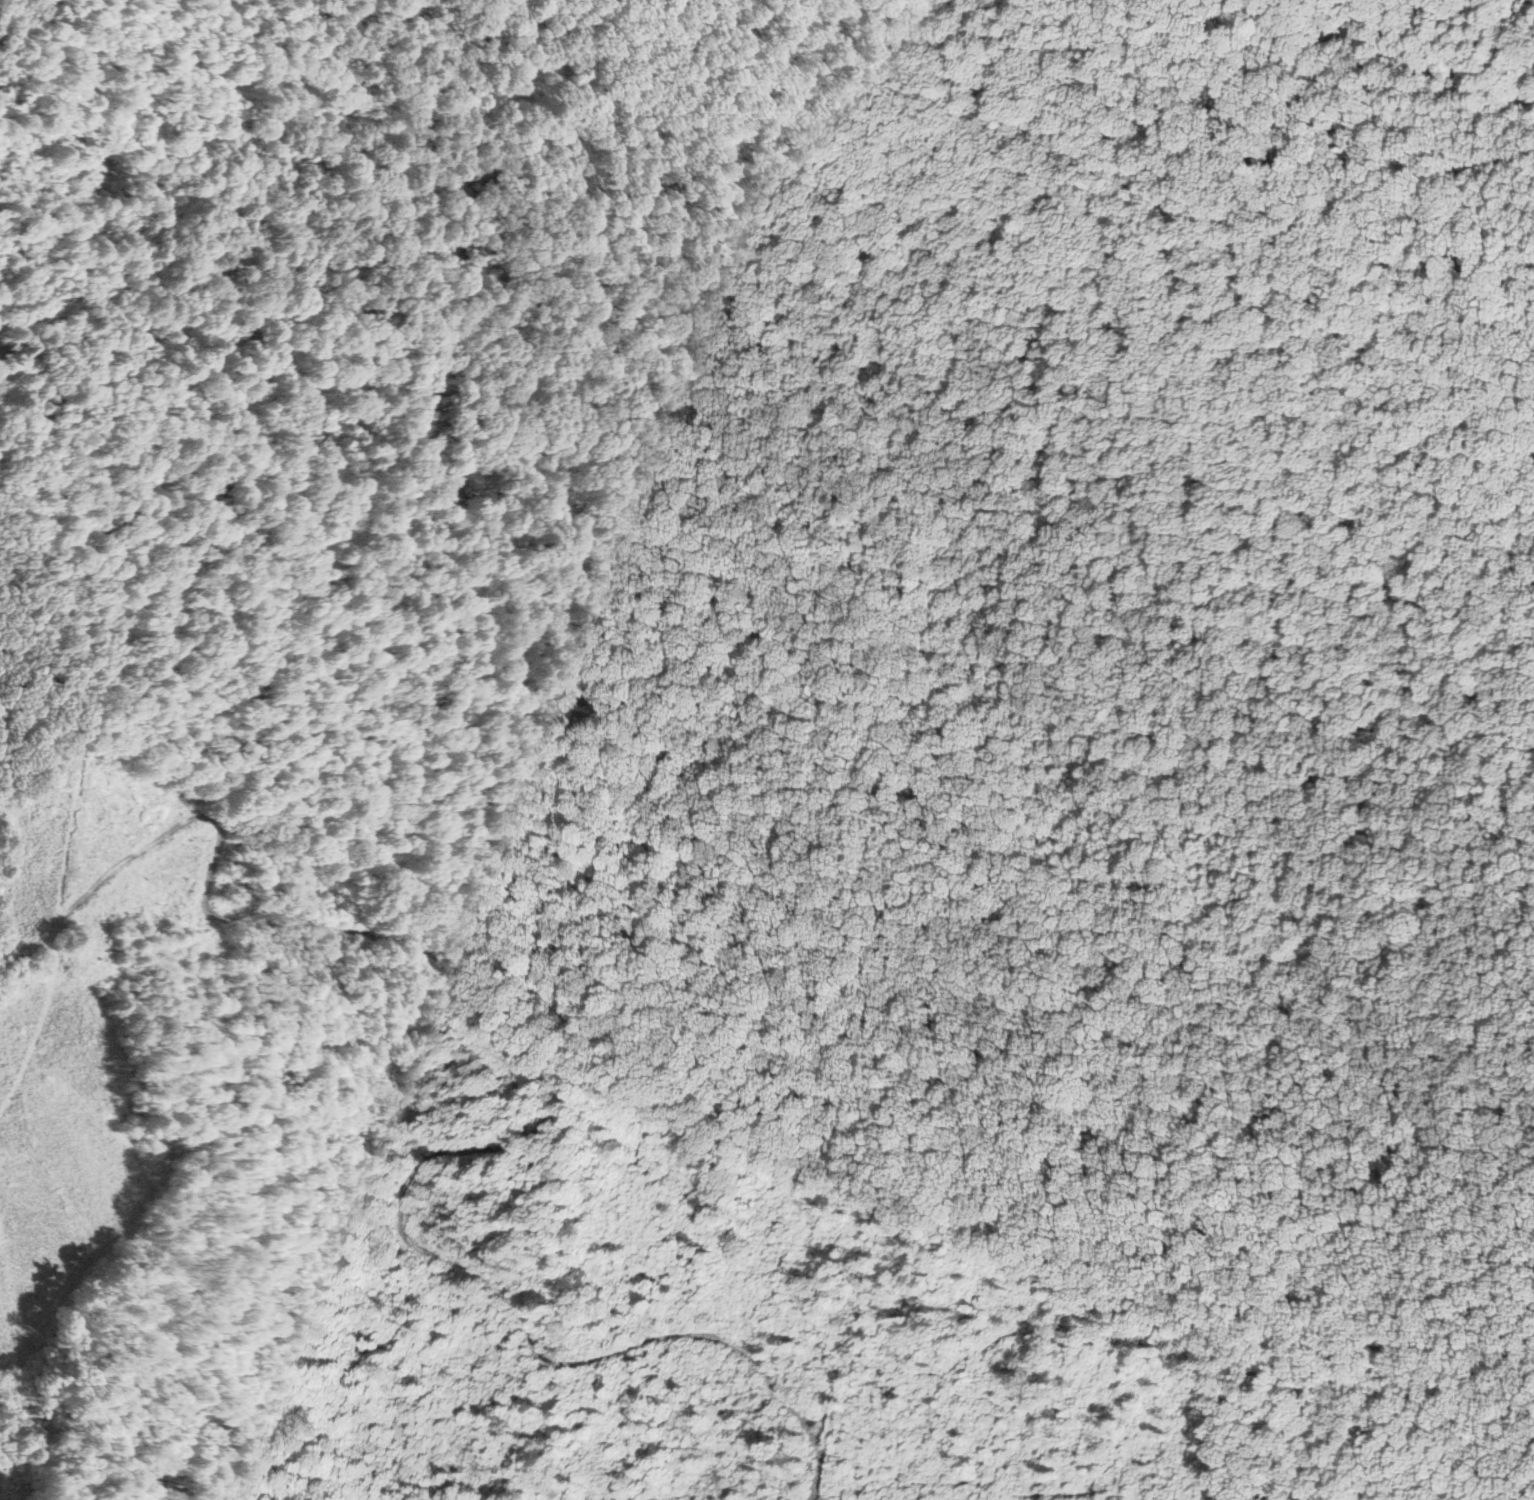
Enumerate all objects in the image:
park: (1372, 209)

